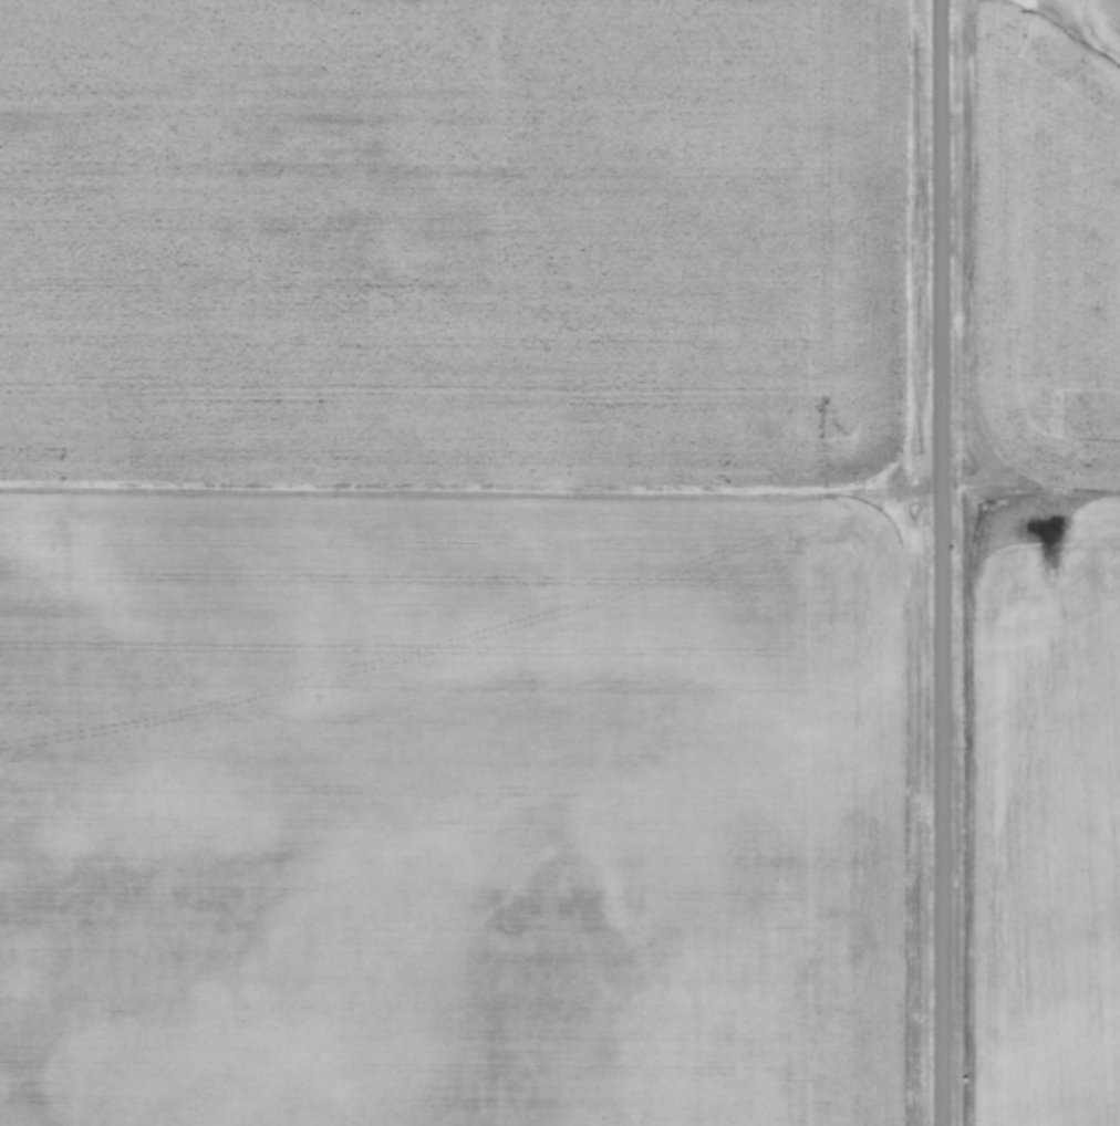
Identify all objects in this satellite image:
road: (943, 563)

